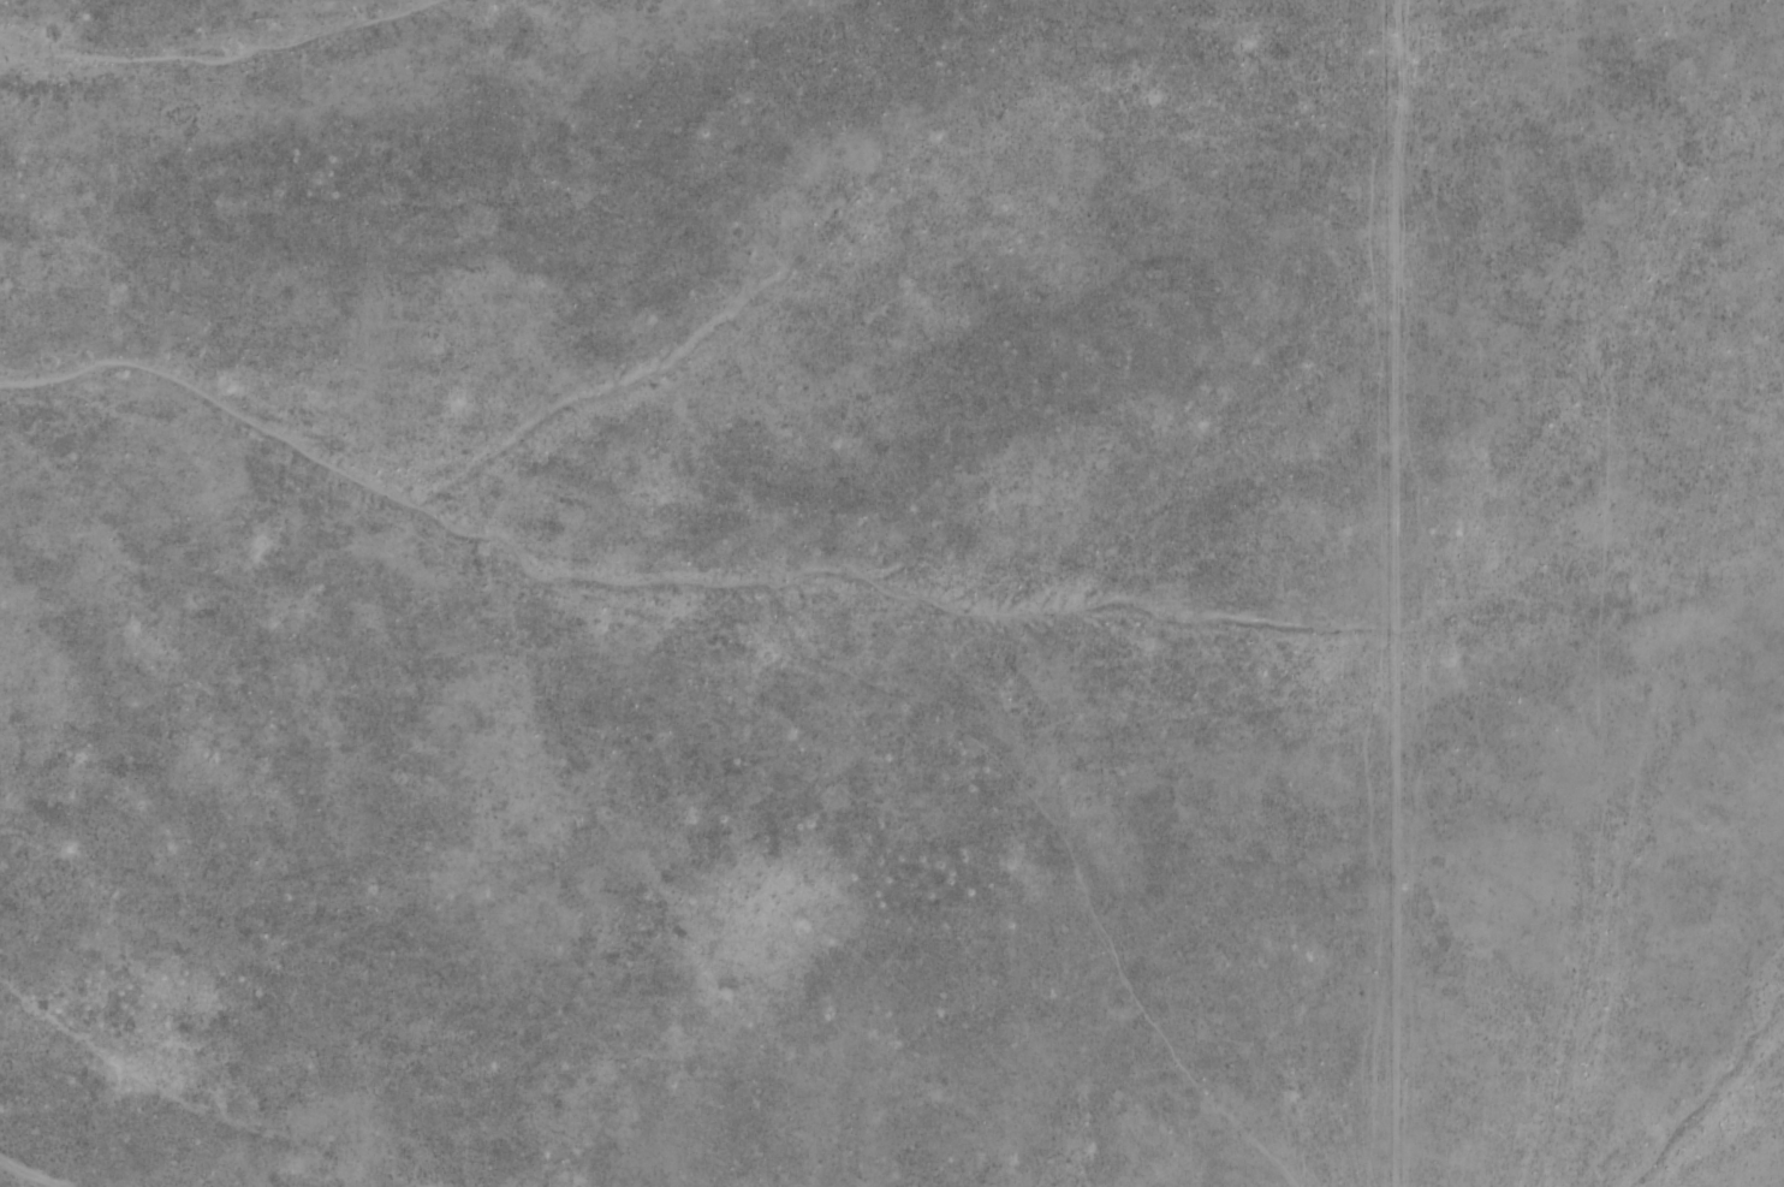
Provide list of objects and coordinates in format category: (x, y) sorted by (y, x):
road: (458, 1139)

